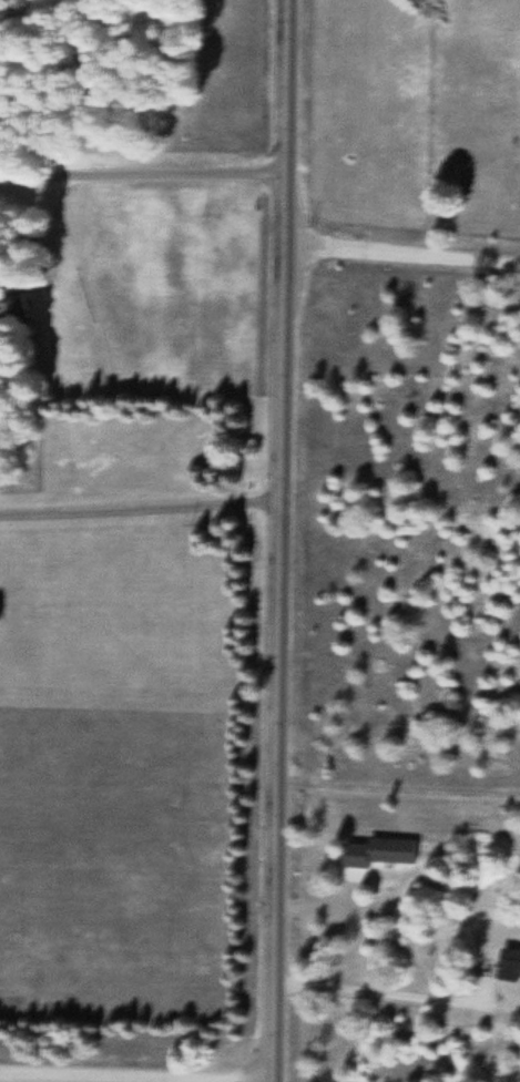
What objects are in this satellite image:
road: (145, 178)
road: (405, 249)
building: (24, 309)
road: (285, 541)
road: (145, 550)
road: (135, 1071)

